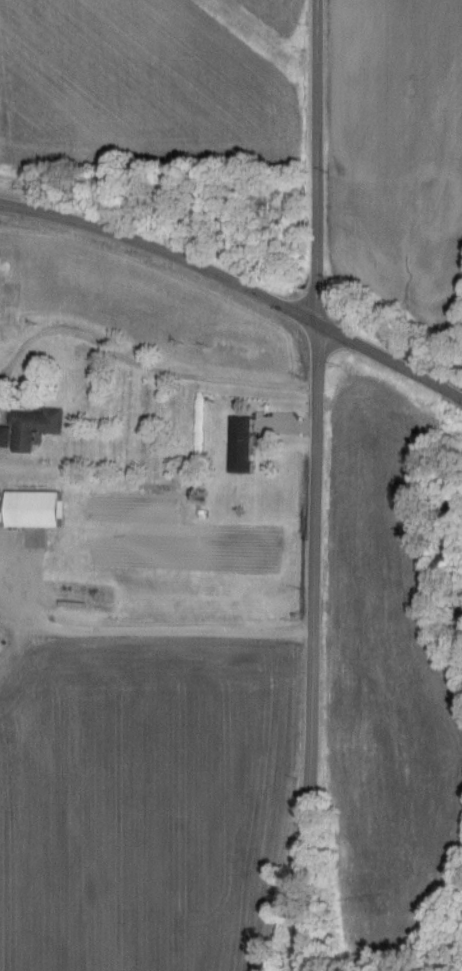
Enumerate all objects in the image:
crop: (270, 20)
crop: (140, 90)
crop: (401, 147)
road: (318, 161)
road: (237, 283)
road: (147, 363)
building: (40, 427)
building: (8, 437)
building: (247, 445)
building: (40, 510)
road: (146, 629)
road: (313, 647)

